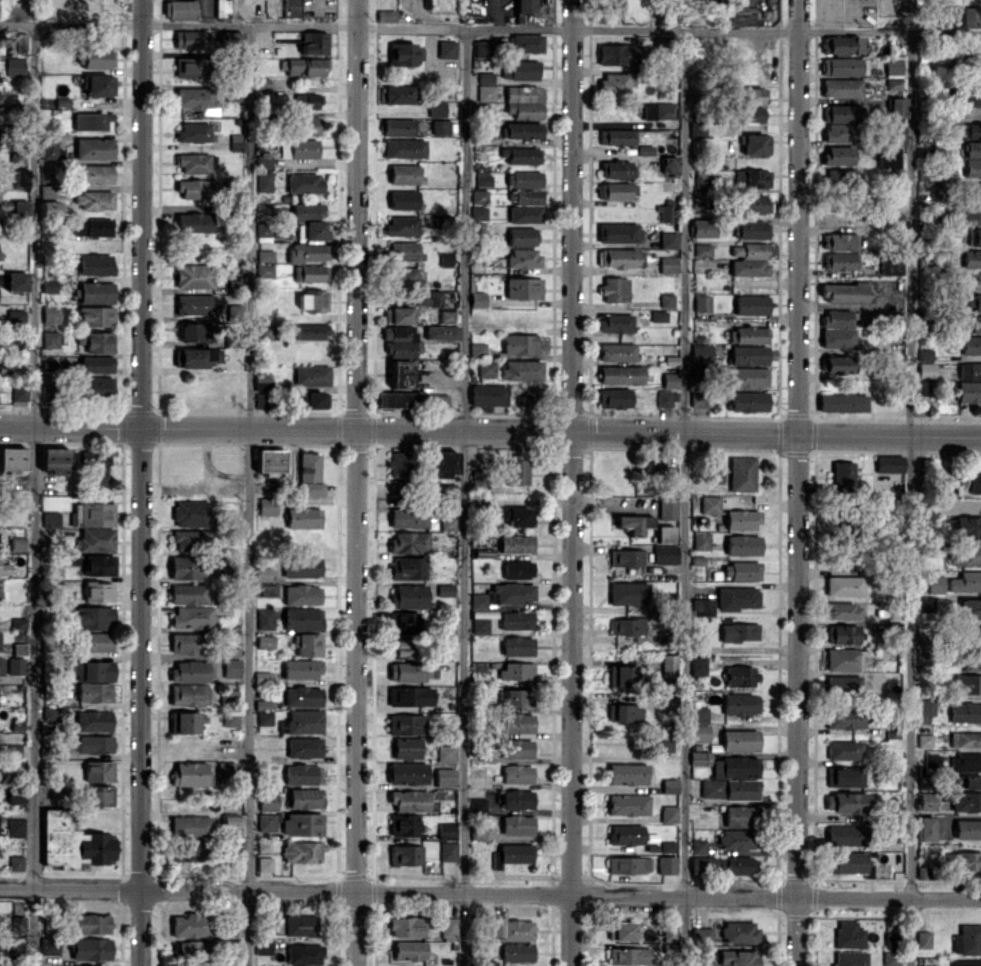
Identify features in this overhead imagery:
building: (742, 1)
building: (523, 6)
building: (613, 6)
building: (222, 8)
building: (291, 8)
building: (180, 9)
building: (737, 15)
building: (952, 15)
road: (829, 16)
building: (970, 16)
road: (490, 29)
building: (230, 38)
building: (190, 39)
building: (20, 40)
building: (314, 43)
building: (525, 43)
building: (841, 45)
building: (482, 48)
building: (446, 49)
building: (403, 53)
building: (616, 54)
building: (96, 58)
building: (974, 63)
building: (14, 66)
building: (840, 66)
building: (894, 66)
building: (188, 67)
building: (306, 67)
building: (519, 69)
building: (485, 77)
building: (617, 80)
building: (99, 85)
building: (841, 87)
building: (234, 92)
building: (485, 92)
building: (399, 94)
building: (749, 95)
building: (968, 97)
building: (1, 98)
building: (194, 98)
building: (308, 101)
building: (524, 101)
building: (897, 107)
building: (436, 108)
building: (658, 111)
building: (837, 113)
building: (750, 114)
building: (92, 121)
building: (50, 124)
building: (305, 125)
building: (398, 127)
building: (440, 127)
building: (522, 130)
building: (970, 130)
building: (196, 131)
building: (838, 132)
building: (897, 135)
building: (616, 137)
building: (236, 142)
building: (755, 144)
building: (49, 147)
building: (93, 148)
building: (299, 148)
building: (404, 148)
building: (973, 149)
building: (521, 155)
building: (838, 155)
building: (889, 157)
building: (263, 159)
building: (193, 162)
building: (669, 164)
building: (972, 167)
building: (617, 169)
building: (93, 174)
building: (405, 174)
building: (21, 176)
building: (482, 177)
building: (841, 177)
building: (523, 178)
building: (751, 178)
building: (263, 181)
building: (304, 182)
building: (196, 188)
building: (614, 190)
building: (973, 191)
building: (46, 192)
building: (479, 196)
building: (93, 199)
building: (403, 199)
building: (699, 199)
building: (752, 203)
building: (525, 205)
building: (48, 208)
building: (20, 209)
building: (307, 211)
building: (665, 212)
building: (478, 213)
building: (969, 213)
building: (442, 220)
building: (193, 222)
building: (402, 225)
building: (92, 227)
building: (475, 227)
building: (702, 228)
building: (752, 229)
building: (312, 230)
building: (262, 231)
building: (618, 232)
building: (522, 236)
building: (974, 236)
building: (668, 240)
building: (839, 241)
building: (702, 249)
building: (403, 250)
building: (754, 250)
building: (309, 252)
building: (265, 255)
building: (523, 258)
building: (623, 258)
building: (446, 259)
building: (971, 259)
building: (840, 261)
building: (95, 264)
building: (668, 264)
building: (889, 266)
building: (748, 267)
building: (264, 270)
building: (310, 273)
building: (193, 276)
building: (405, 277)
building: (16, 280)
building: (976, 280)
building: (48, 286)
building: (523, 287)
building: (615, 289)
building: (95, 292)
building: (844, 292)
building: (427, 297)
building: (477, 299)
building: (667, 300)
building: (313, 301)
building: (977, 301)
building: (702, 302)
building: (194, 304)
building: (751, 305)
building: (50, 314)
building: (397, 315)
building: (446, 315)
building: (95, 316)
building: (658, 316)
building: (17, 317)
building: (615, 323)
building: (975, 324)
building: (838, 330)
building: (311, 331)
building: (194, 332)
building: (398, 332)
building: (441, 332)
building: (747, 335)
building: (49, 339)
building: (96, 341)
building: (520, 344)
building: (971, 345)
building: (401, 349)
building: (477, 350)
building: (617, 351)
building: (701, 354)
building: (924, 354)
building: (748, 355)
building: (194, 357)
building: (96, 364)
building: (835, 364)
building: (486, 368)
building: (925, 369)
building: (521, 370)
building: (969, 370)
building: (401, 373)
building: (621, 374)
building: (312, 376)
building: (748, 377)
building: (669, 380)
building: (262, 381)
building: (95, 387)
building: (921, 387)
building: (968, 391)
building: (48, 392)
building: (19, 393)
building: (536, 394)
building: (488, 395)
building: (614, 398)
building: (663, 398)
building: (309, 399)
building: (397, 399)
building: (262, 400)
building: (437, 400)
building: (748, 401)
building: (842, 402)
road: (490, 433)
building: (12, 459)
building: (54, 459)
building: (269, 461)
building: (443, 463)
building: (399, 464)
building: (888, 464)
building: (95, 468)
building: (654, 468)
building: (516, 471)
building: (309, 473)
building: (715, 473)
building: (843, 473)
building: (741, 474)
building: (975, 479)
road: (355, 482)
road: (796, 482)
road: (141, 483)
road: (571, 483)
road: (32, 494)
road: (247, 495)
road: (464, 497)
road: (684, 498)
road: (909, 499)
building: (709, 504)
building: (267, 506)
building: (667, 509)
building: (190, 513)
building: (97, 514)
building: (515, 515)
building: (303, 517)
building: (408, 517)
building: (55, 518)
building: (740, 519)
building: (446, 523)
building: (633, 523)
building: (967, 526)
building: (664, 534)
building: (96, 539)
building: (188, 539)
building: (700, 540)
building: (409, 542)
building: (515, 543)
building: (16, 545)
building: (742, 545)
building: (664, 554)
building: (964, 555)
building: (625, 557)
building: (99, 565)
building: (302, 566)
building: (188, 568)
building: (408, 568)
building: (4, 569)
building: (517, 569)
building: (740, 570)
building: (965, 581)
building: (935, 583)
building: (843, 586)
building: (444, 590)
building: (98, 591)
building: (513, 593)
building: (628, 593)
building: (188, 594)
building: (0, 595)
building: (302, 595)
building: (408, 596)
building: (735, 598)
building: (701, 607)
building: (970, 608)
building: (842, 610)
building: (478, 616)
building: (93, 617)
building: (193, 617)
building: (264, 617)
building: (302, 618)
building: (516, 620)
building: (18, 622)
building: (403, 622)
building: (626, 626)
building: (738, 632)
building: (841, 634)
building: (972, 636)
building: (95, 641)
building: (187, 643)
building: (307, 644)
building: (517, 645)
building: (401, 648)
building: (844, 659)
building: (970, 660)
building: (15, 665)
building: (668, 665)
building: (697, 665)
building: (1, 666)
building: (231, 667)
building: (301, 669)
building: (91, 670)
building: (516, 670)
building: (189, 671)
building: (406, 671)
building: (740, 675)
building: (620, 676)
building: (262, 677)
building: (967, 683)
building: (842, 684)
building: (93, 691)
building: (188, 694)
building: (228, 696)
building: (302, 696)
building: (410, 696)
building: (513, 697)
building: (739, 704)
building: (264, 705)
building: (924, 706)
building: (624, 712)
building: (964, 712)
building: (50, 713)
building: (698, 714)
building: (844, 717)
building: (264, 718)
building: (230, 719)
building: (93, 720)
building: (304, 721)
building: (184, 722)
building: (517, 722)
building: (405, 724)
building: (699, 733)
building: (965, 739)
building: (739, 740)
building: (923, 740)
building: (94, 744)
building: (660, 744)
building: (303, 747)
building: (407, 748)
building: (517, 748)
building: (843, 750)
building: (14, 752)
building: (445, 753)
building: (699, 758)
building: (930, 760)
building: (965, 761)
building: (734, 767)
building: (225, 770)
building: (98, 771)
building: (189, 773)
building: (407, 773)
building: (626, 773)
building: (303, 774)
building: (517, 774)
building: (892, 774)
building: (844, 776)
building: (444, 777)
building: (965, 781)
building: (669, 785)
building: (710, 788)
building: (740, 789)
building: (60, 791)
building: (15, 795)
building: (99, 795)
building: (304, 797)
building: (517, 799)
building: (409, 800)
building: (926, 800)
building: (267, 801)
building: (965, 801)
building: (845, 803)
building: (627, 805)
building: (477, 806)
building: (668, 813)
building: (738, 816)
building: (265, 822)
building: (229, 823)
building: (302, 824)
building: (403, 824)
building: (517, 824)
building: (190, 825)
building: (14, 826)
building: (924, 828)
building: (967, 829)
building: (446, 830)
building: (477, 831)
building: (625, 834)
building: (843, 834)
building: (736, 839)
building: (71, 842)
building: (668, 846)
building: (698, 846)
building: (447, 851)
building: (186, 852)
building: (302, 852)
building: (405, 854)
building: (512, 854)
building: (967, 860)
building: (15, 863)
building: (847, 863)
building: (264, 864)
building: (628, 865)
building: (666, 865)
building: (703, 865)
building: (737, 865)
road: (490, 893)
building: (91, 923)
building: (189, 925)
building: (294, 925)
building: (405, 926)
building: (447, 927)
building: (511, 929)
building: (621, 930)
building: (737, 932)
building: (669, 933)
building: (701, 934)
building: (847, 934)
building: (922, 939)
building: (967, 940)
building: (261, 947)
building: (90, 948)
building: (408, 950)
building: (188, 951)
building: (516, 951)
building: (303, 953)
building: (628, 956)
building: (737, 957)
building: (849, 958)
building: (890, 958)
building: (705, 963)
building: (965, 963)
building: (89, 965)
building: (930, 965)

